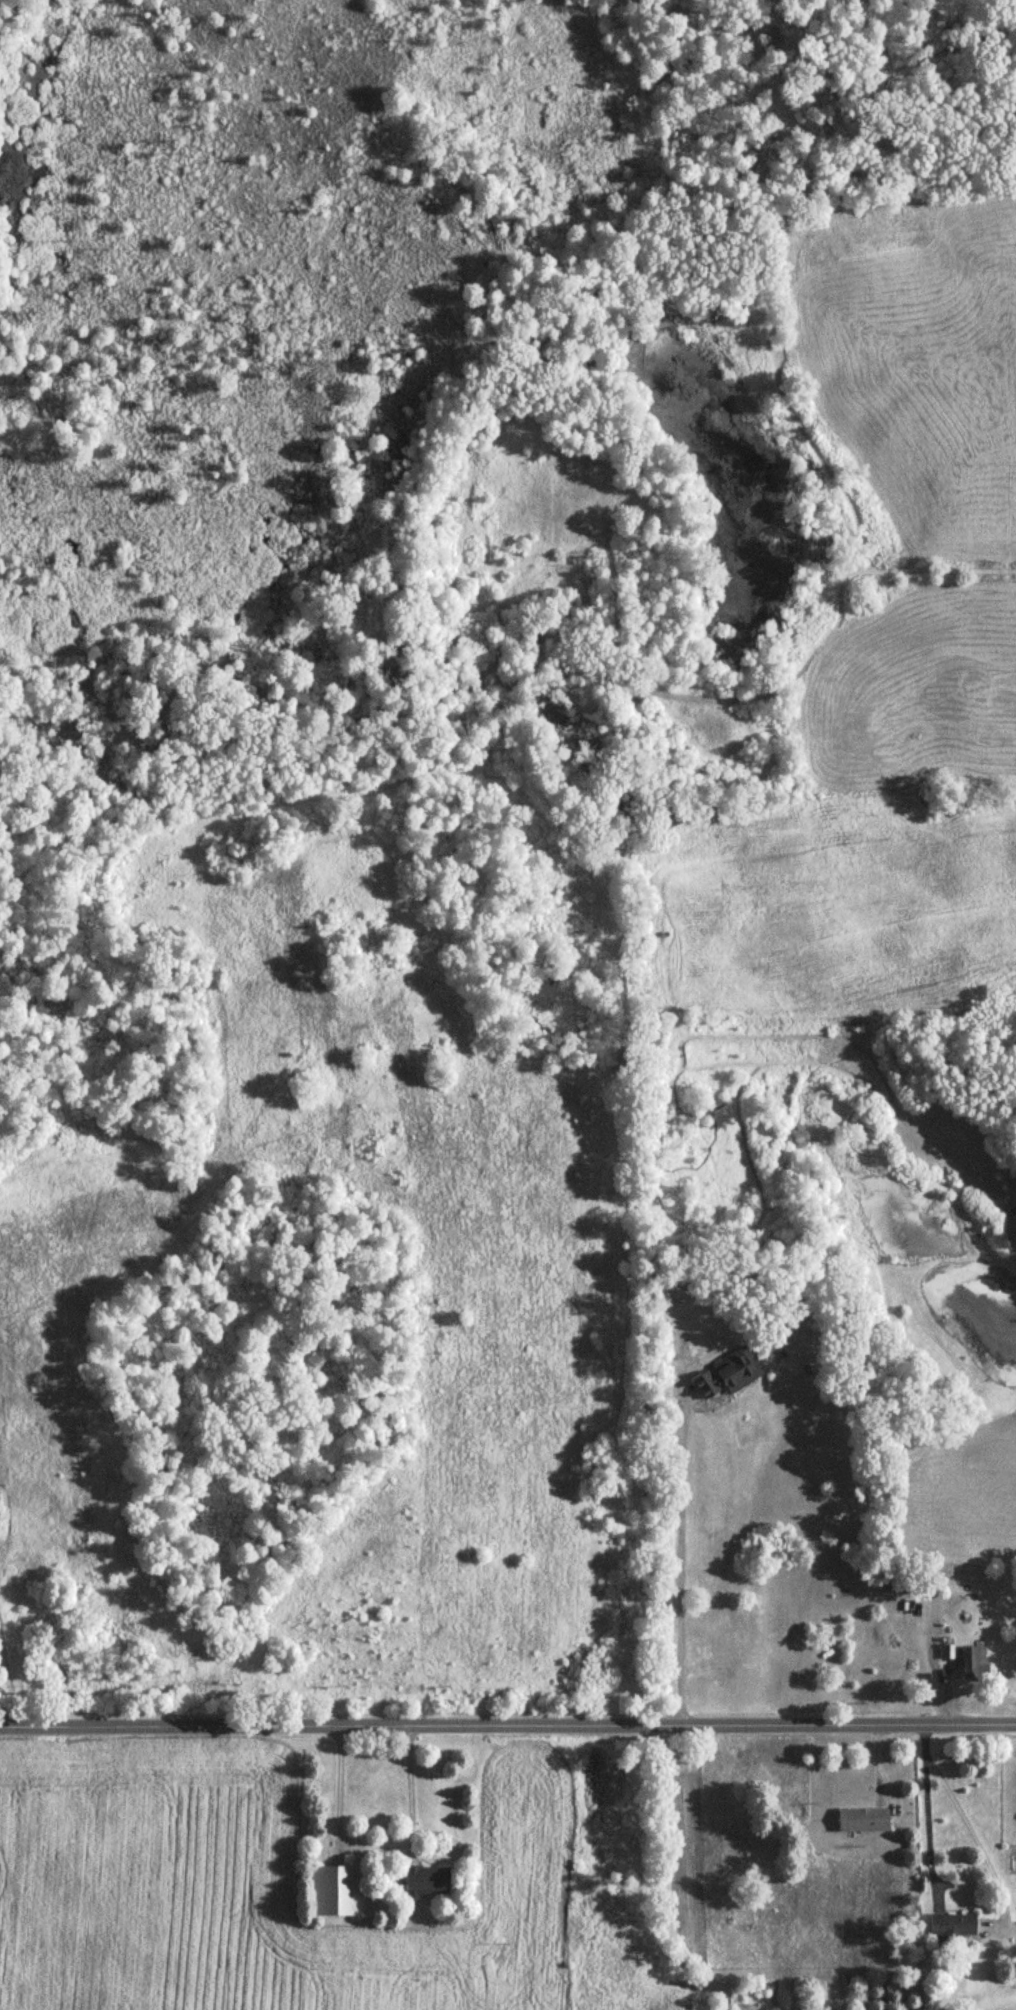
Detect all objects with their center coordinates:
building: (728, 1375)
road: (681, 1564)
building: (973, 1661)
road: (508, 1721)
road: (926, 1806)
building: (862, 1821)
road: (374, 1850)
building: (425, 1883)
building: (329, 1892)
building: (952, 1926)

